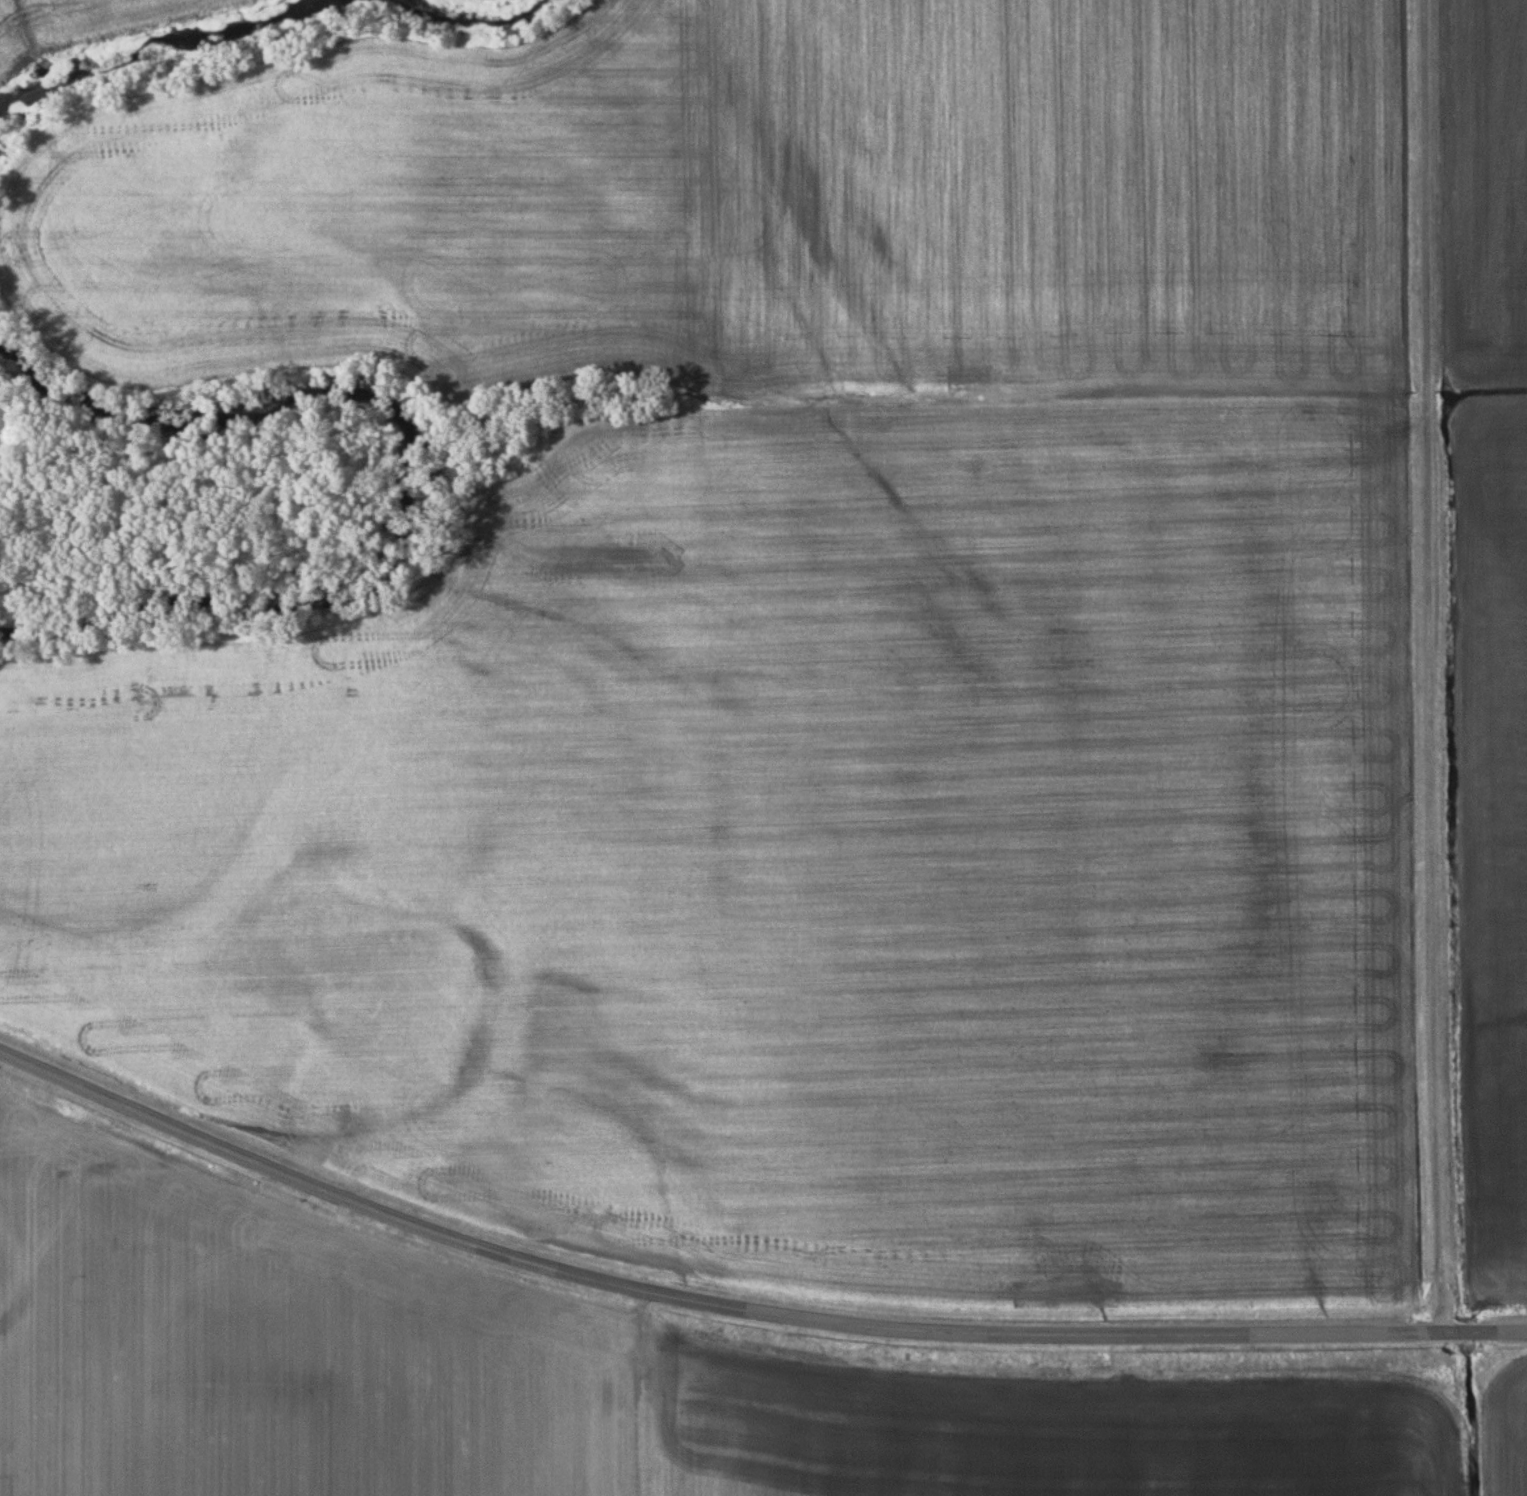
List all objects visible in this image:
road: (1424, 669)
road: (740, 1312)
road: (1467, 1417)

